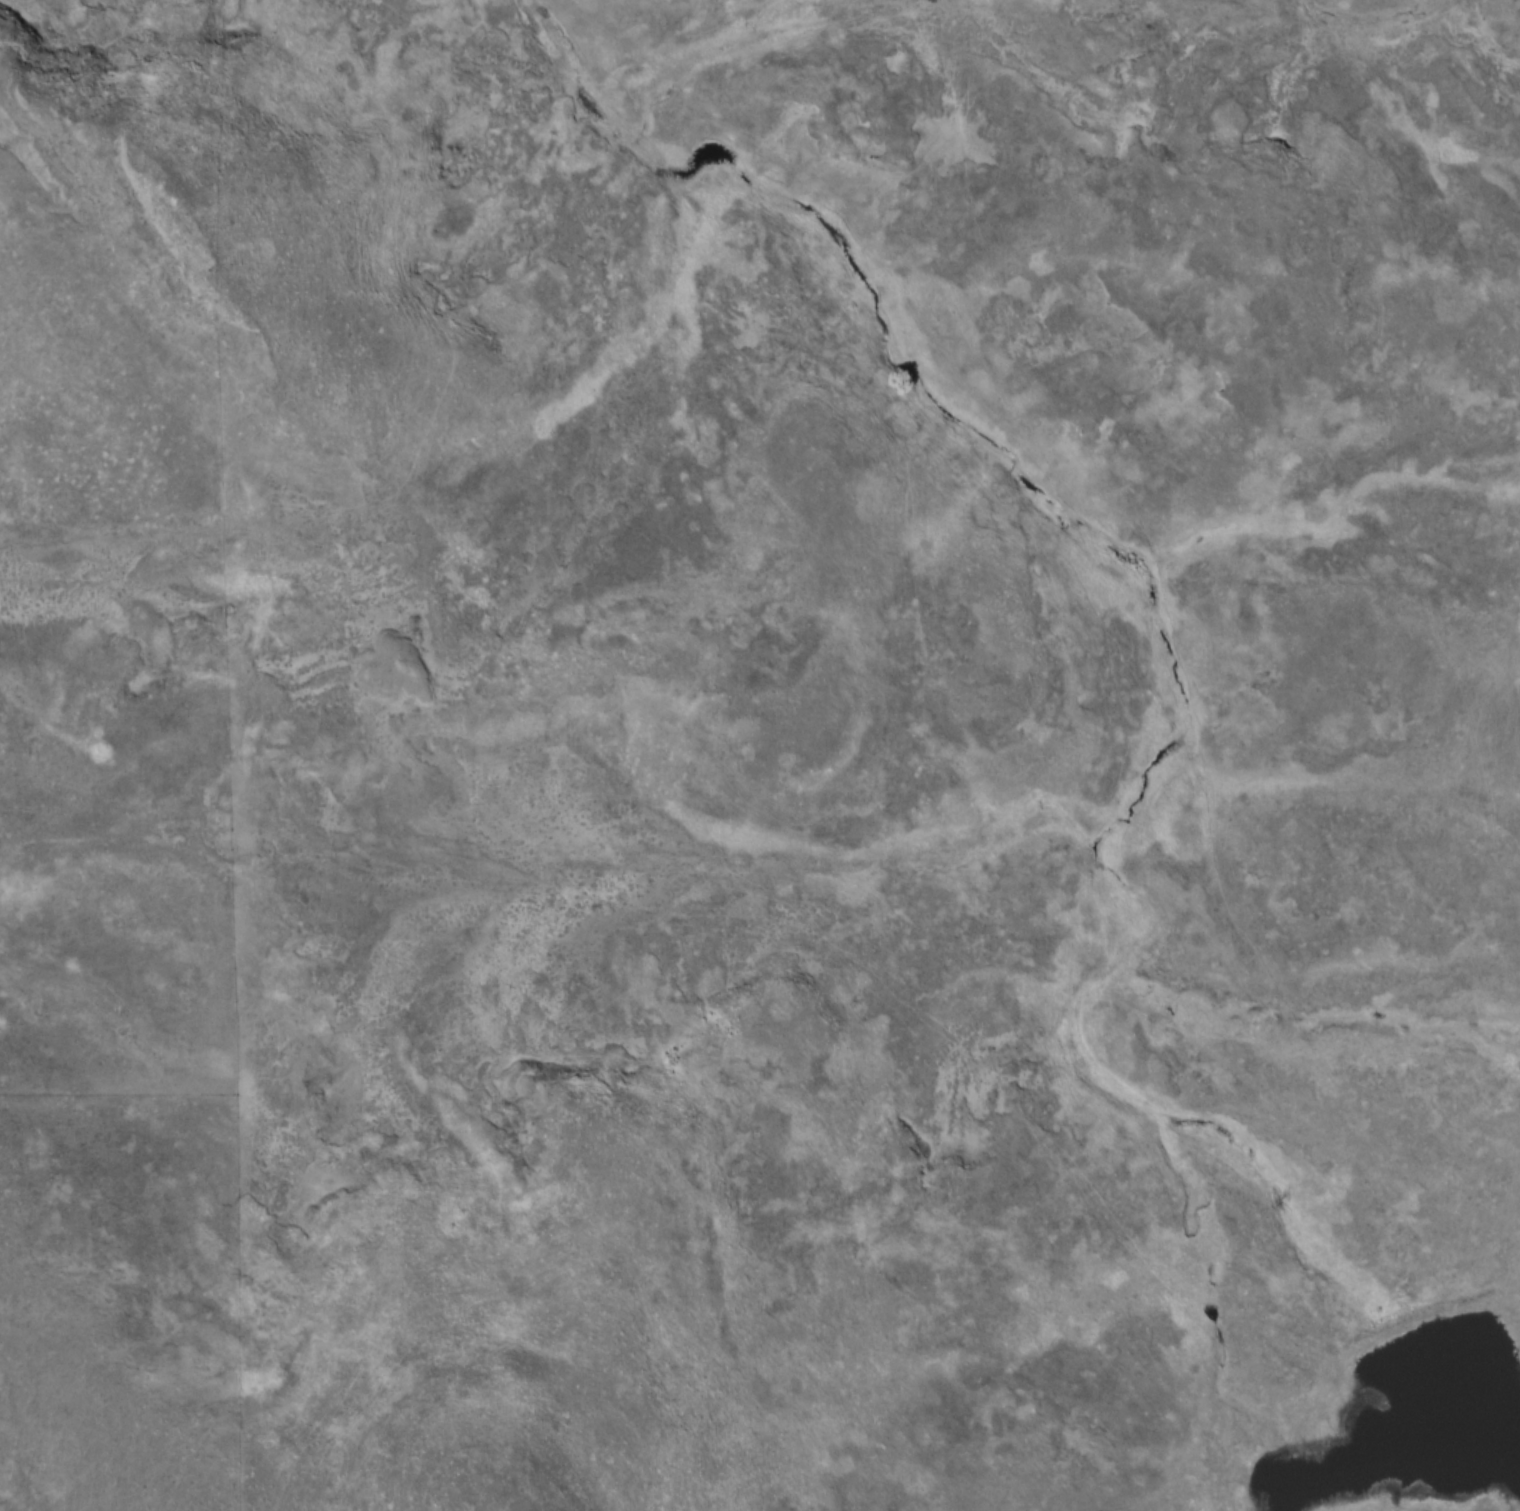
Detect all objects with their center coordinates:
dam: (1427, 1309)

